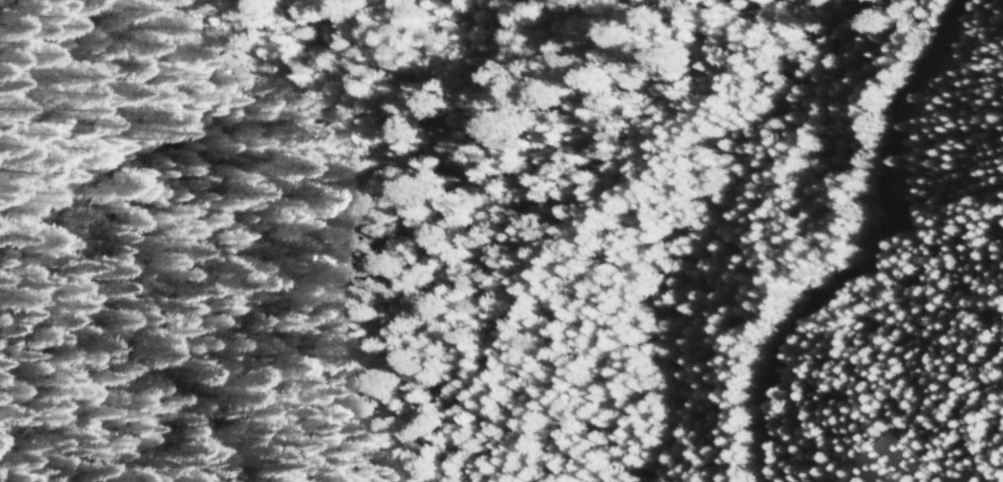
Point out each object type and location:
road: (844, 244)

